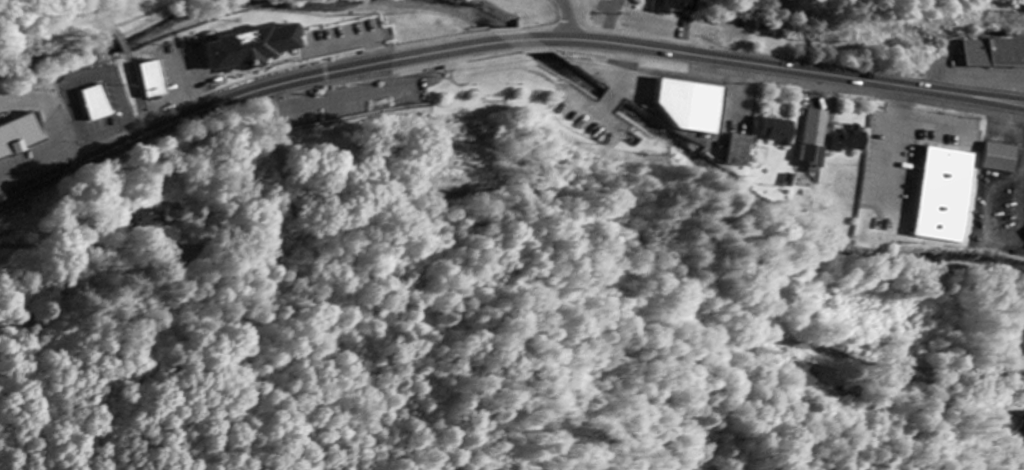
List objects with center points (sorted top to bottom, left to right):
building: (677, 6)
road: (138, 18)
road: (527, 19)
building: (775, 30)
parking lot: (349, 33)
road: (351, 39)
road: (46, 45)
building: (253, 48)
building: (997, 53)
road: (783, 68)
parking lot: (962, 71)
road: (135, 76)
road: (86, 80)
building: (153, 81)
road: (262, 82)
road: (57, 86)
road: (355, 95)
building: (97, 105)
building: (694, 106)
parking lot: (351, 107)
building: (777, 131)
building: (22, 137)
building: (816, 138)
building: (848, 141)
parking lot: (907, 143)
building: (742, 145)
building: (997, 152)
parking lot: (14, 171)
road: (532, 188)
building: (939, 189)
building: (155, 215)

